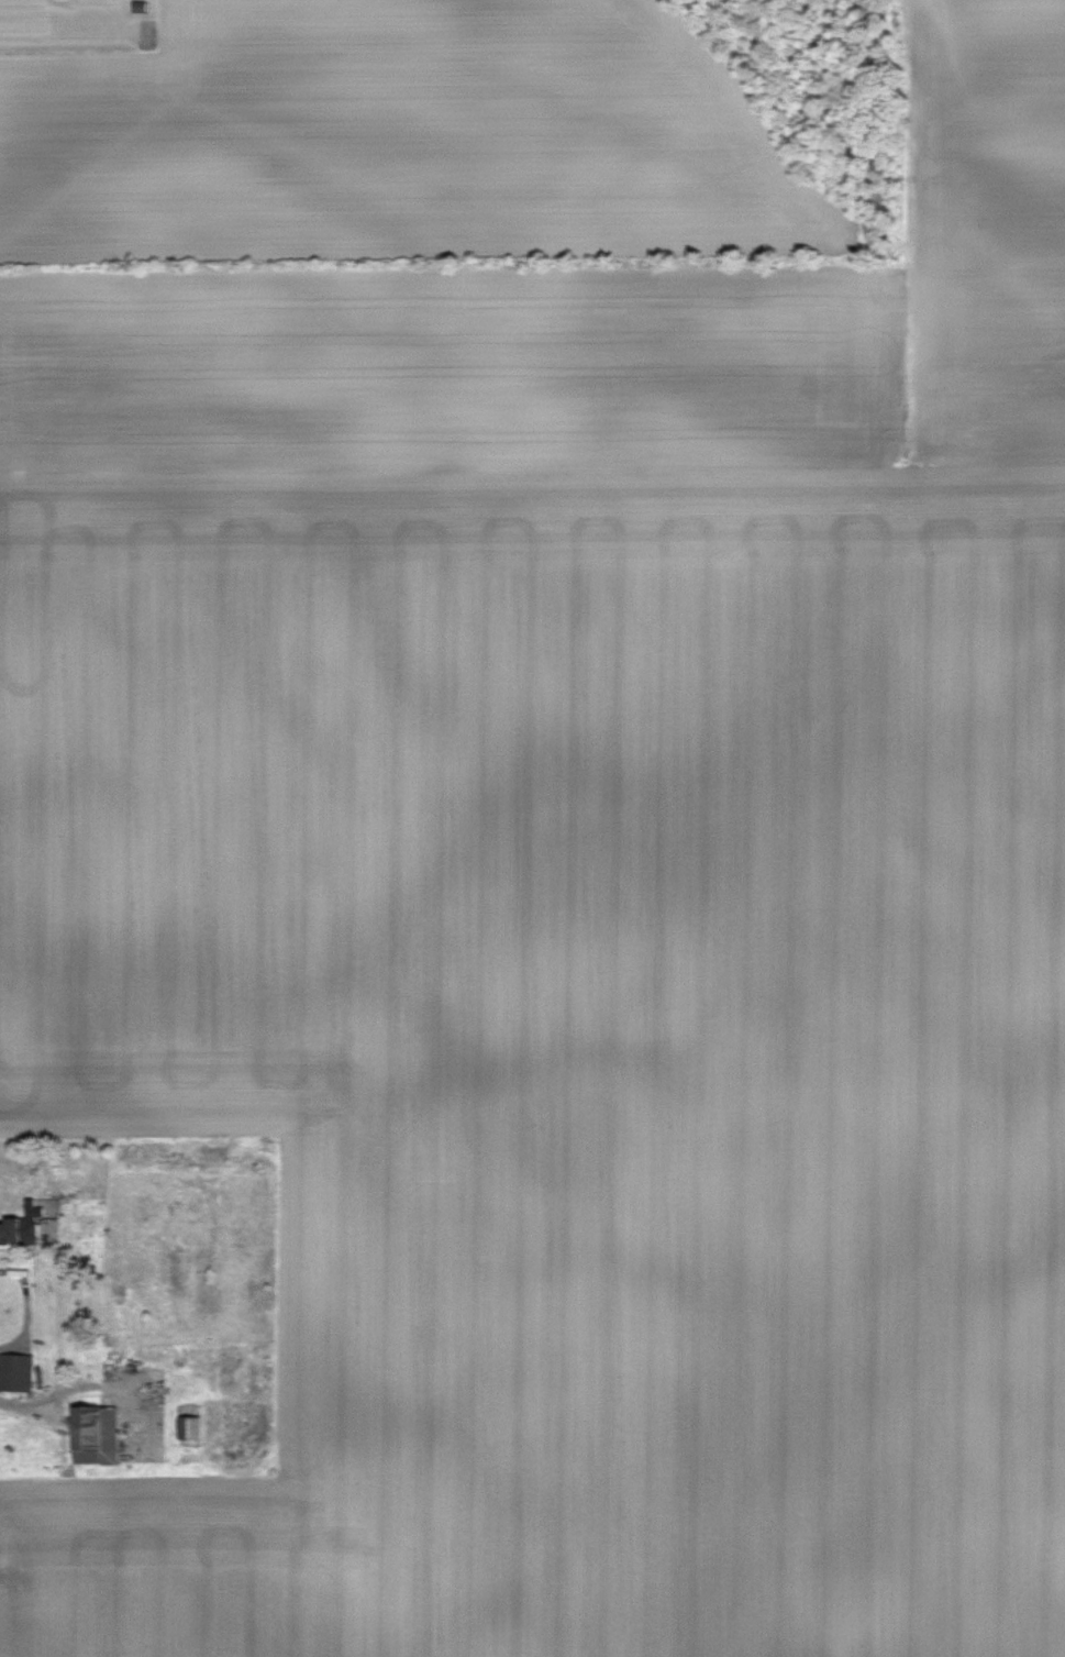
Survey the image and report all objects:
building: (22, 1228)
building: (15, 1372)
building: (188, 1428)
building: (93, 1435)

